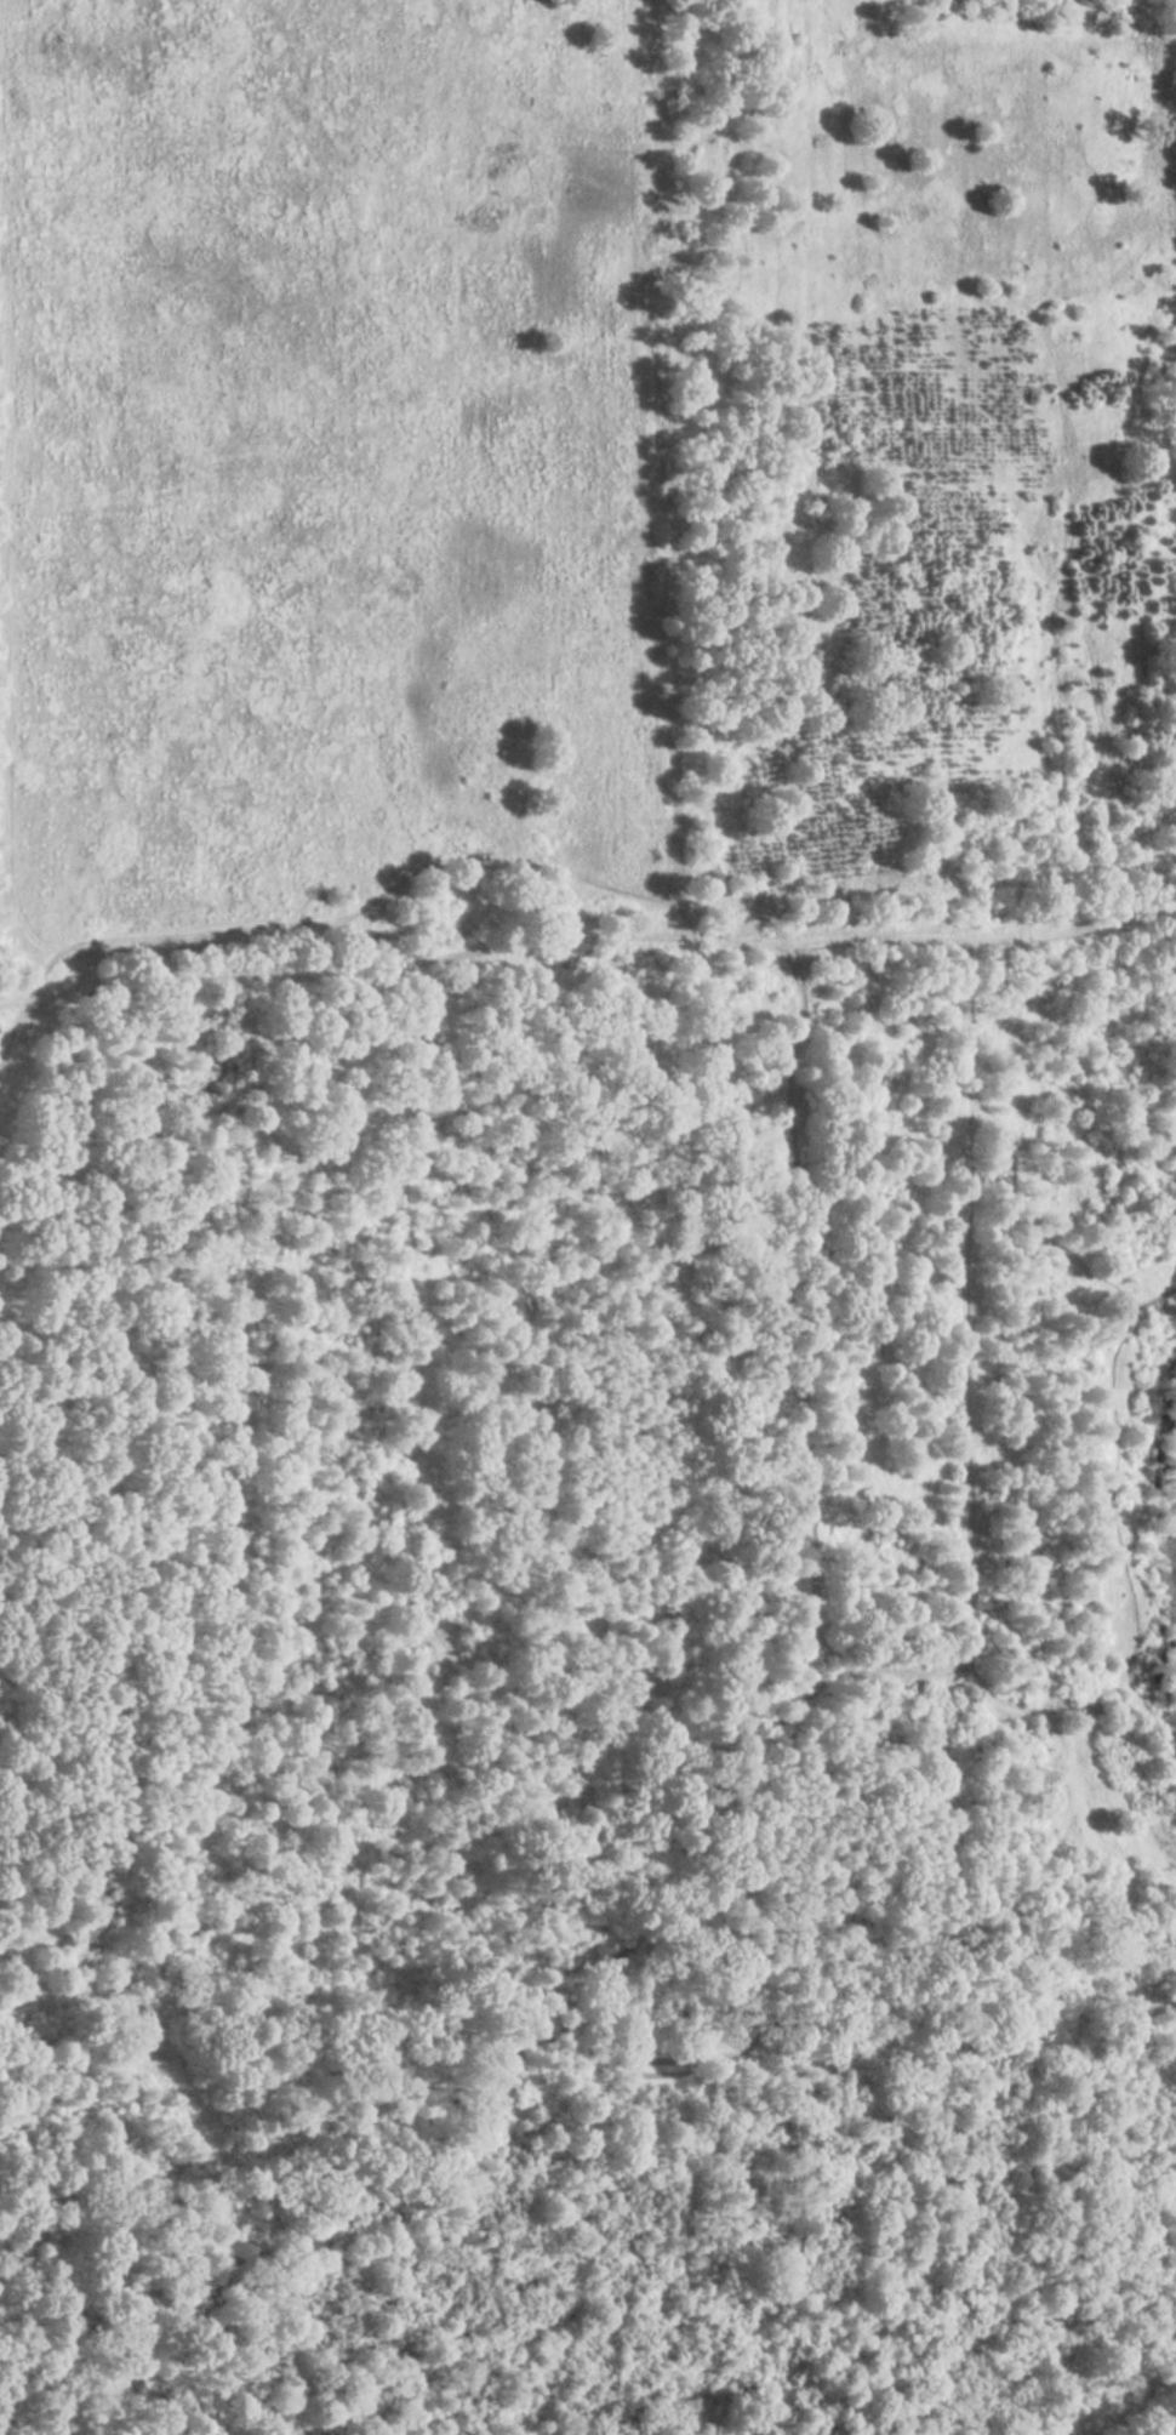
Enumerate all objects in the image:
crop: (332, 461)
road: (586, 931)

